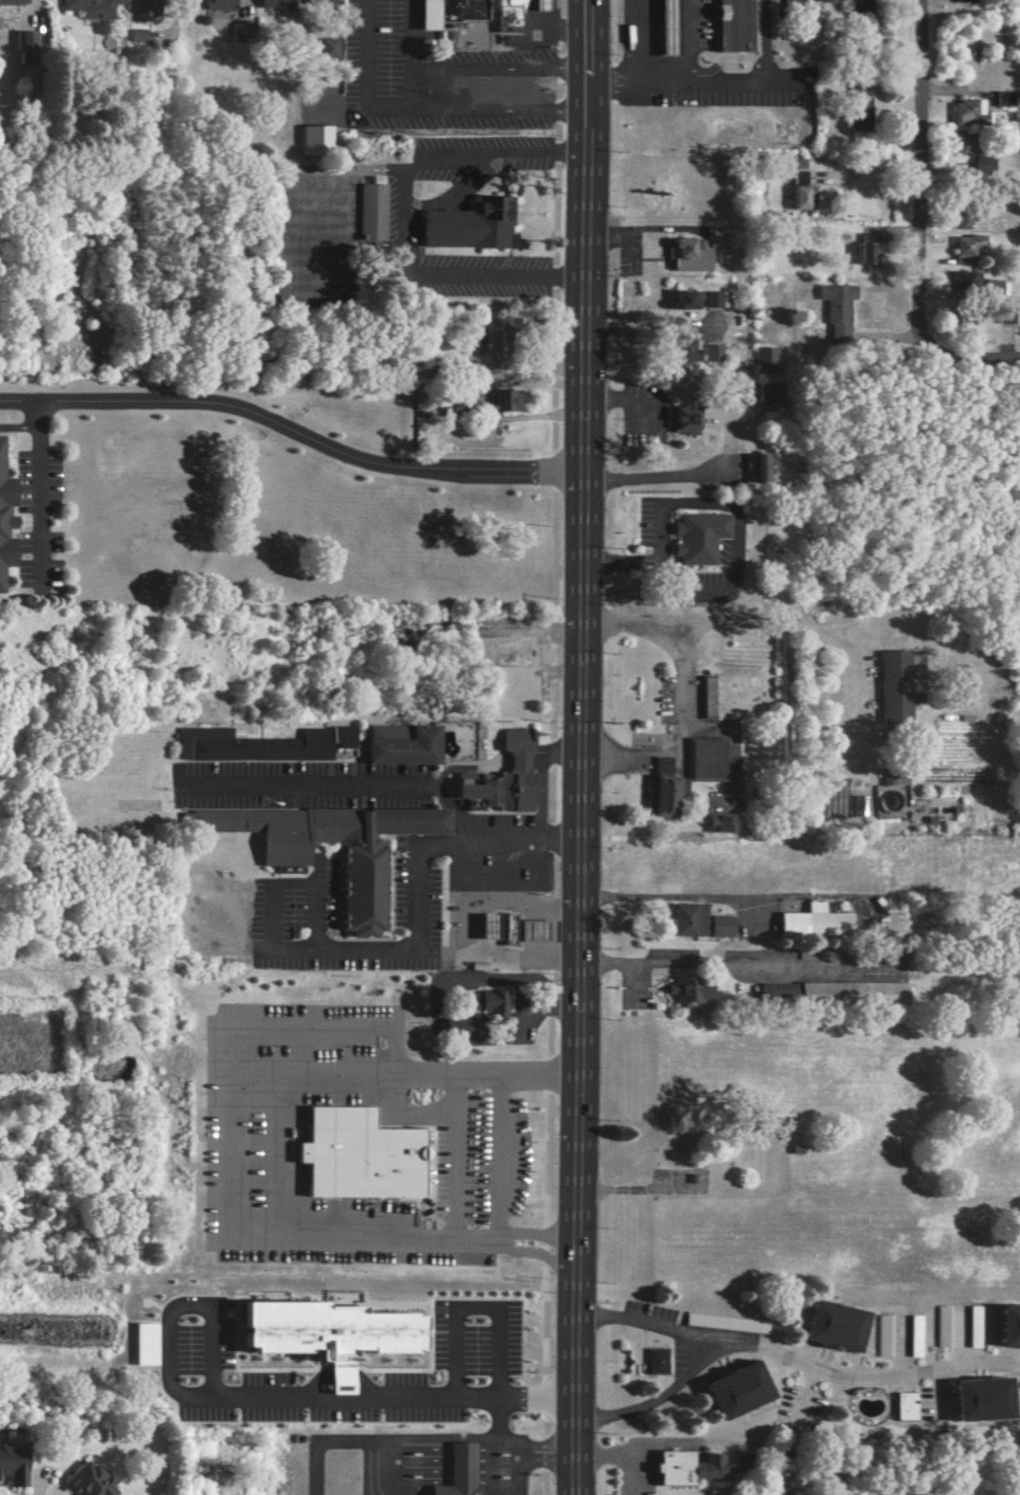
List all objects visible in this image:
building: (825, 0)
building: (316, 1)
building: (272, 3)
building: (216, 4)
building: (541, 4)
building: (88, 7)
building: (7, 9)
building: (142, 9)
building: (445, 15)
building: (506, 15)
building: (734, 27)
building: (667, 29)
building: (135, 34)
road: (631, 39)
building: (24, 40)
building: (326, 48)
road: (756, 72)
road: (673, 78)
road: (434, 86)
road: (578, 87)
road: (372, 93)
building: (1000, 99)
building: (856, 104)
building: (964, 112)
building: (311, 139)
building: (962, 143)
building: (980, 166)
road: (919, 174)
building: (796, 183)
building: (371, 210)
road: (401, 216)
building: (960, 220)
building: (469, 223)
building: (965, 247)
building: (865, 249)
building: (686, 256)
building: (961, 280)
building: (991, 288)
building: (710, 299)
building: (680, 300)
building: (834, 309)
building: (1004, 315)
road: (650, 326)
building: (491, 342)
building: (681, 351)
building: (711, 353)
building: (763, 360)
road: (970, 362)
building: (768, 395)
building: (494, 398)
road: (18, 400)
building: (508, 400)
road: (224, 402)
building: (681, 420)
road: (18, 427)
building: (757, 469)
road: (654, 477)
road: (725, 503)
building: (3, 521)
building: (696, 537)
road: (680, 677)
building: (894, 687)
building: (707, 698)
building: (258, 744)
building: (399, 745)
road: (580, 747)
road: (558, 754)
building: (705, 758)
road: (622, 759)
building: (661, 766)
building: (500, 778)
road: (341, 787)
building: (662, 796)
road: (539, 801)
building: (858, 806)
road: (453, 811)
building: (719, 823)
road: (724, 894)
building: (360, 898)
road: (416, 898)
building: (697, 922)
building: (813, 922)
building: (488, 926)
building: (508, 928)
building: (537, 930)
road: (272, 933)
road: (732, 963)
building: (686, 991)
building: (776, 993)
building: (488, 1002)
building: (453, 1026)
road: (231, 1054)
road: (505, 1154)
road: (459, 1155)
building: (355, 1156)
road: (502, 1237)
road: (483, 1306)
building: (726, 1323)
building: (942, 1326)
building: (832, 1327)
building: (973, 1327)
building: (1008, 1327)
building: (324, 1332)
building: (882, 1336)
building: (915, 1336)
building: (144, 1344)
road: (799, 1357)
building: (657, 1361)
building: (735, 1390)
road: (658, 1393)
building: (979, 1400)
road: (264, 1402)
building: (904, 1406)
road: (507, 1419)
road: (422, 1436)
road: (624, 1453)
building: (11, 1467)
building: (686, 1468)
road: (526, 1469)
building: (460, 1472)
building: (86, 1481)

